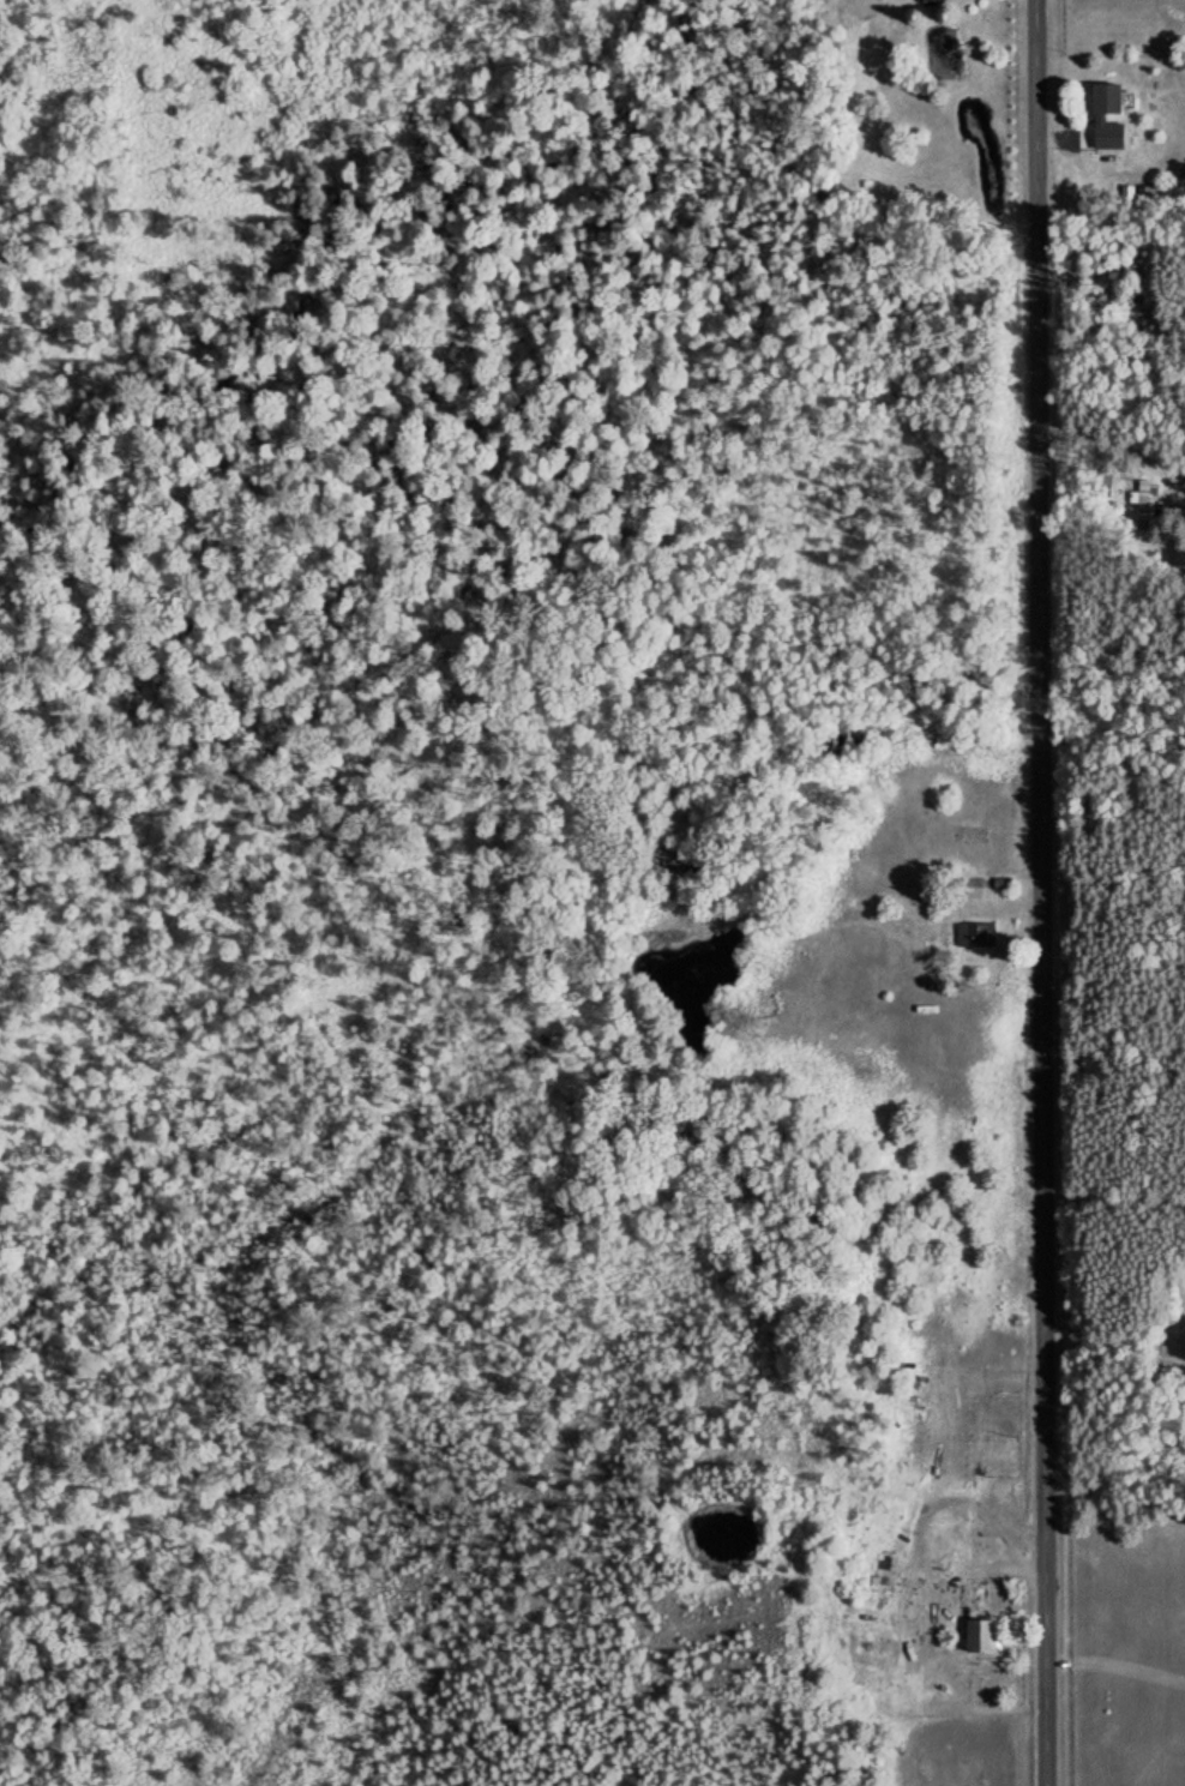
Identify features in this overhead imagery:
building: (879, 6)
building: (1118, 98)
building: (1180, 185)
building: (1147, 497)
road: (1042, 892)
building: (976, 933)
building: (991, 1635)

